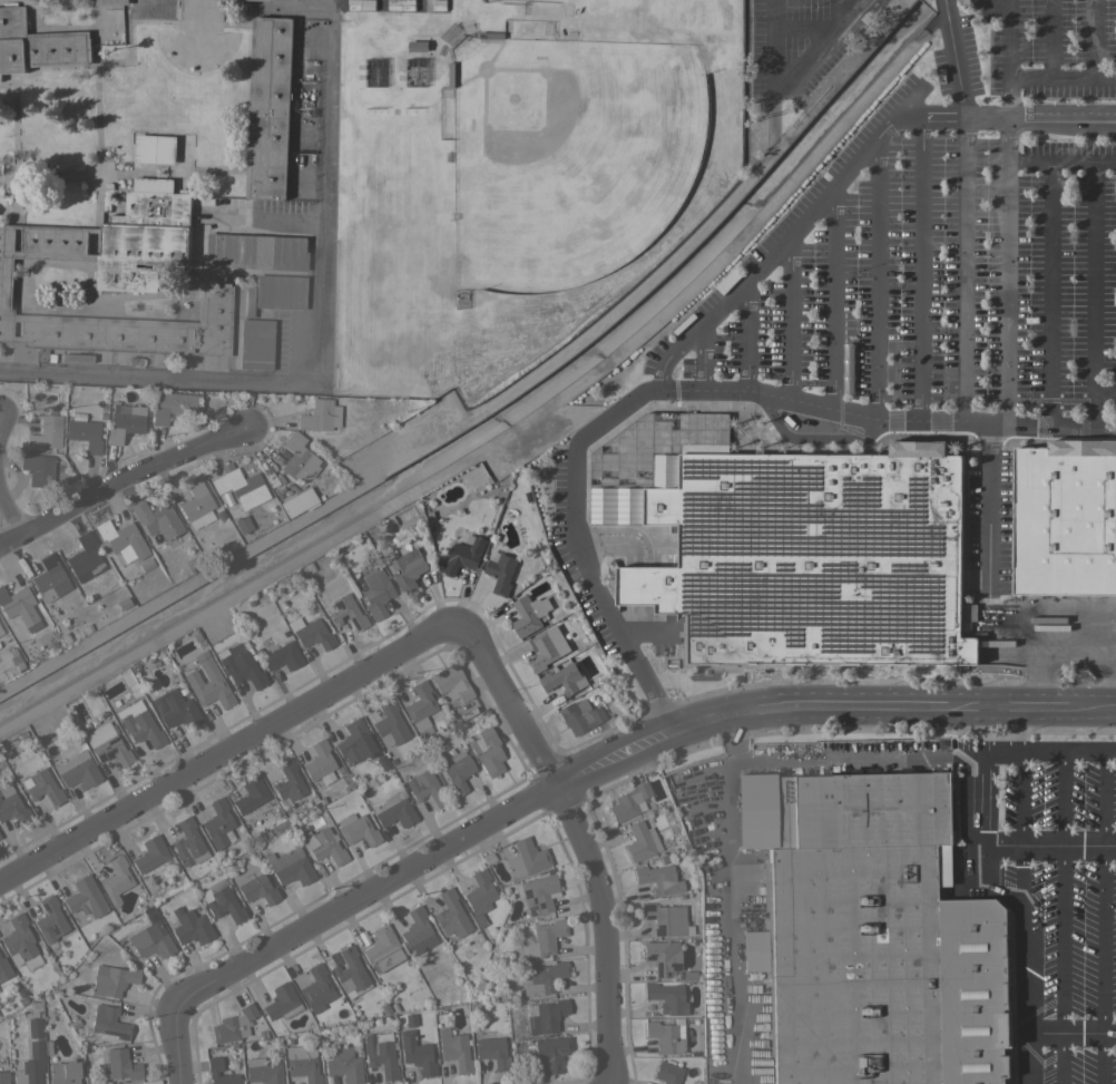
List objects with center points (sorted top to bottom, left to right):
building: (262, 0)
building: (111, 2)
road: (797, 29)
building: (490, 36)
road: (1007, 37)
road: (1049, 38)
road: (1090, 38)
building: (37, 45)
building: (418, 46)
road: (953, 57)
building: (375, 72)
building: (417, 72)
building: (451, 75)
road: (1061, 76)
road: (779, 81)
building: (446, 95)
road: (1009, 95)
building: (270, 108)
building: (155, 149)
road: (1063, 157)
building: (256, 252)
road: (921, 268)
road: (963, 270)
road: (1009, 270)
road: (1093, 274)
building: (118, 280)
road: (873, 281)
building: (280, 291)
road: (1048, 291)
road: (832, 297)
building: (248, 301)
road: (789, 316)
road: (708, 319)
road: (748, 334)
building: (255, 344)
building: (76, 358)
road: (311, 369)
road: (1094, 398)
building: (173, 404)
building: (102, 406)
building: (77, 414)
building: (101, 414)
building: (320, 416)
road: (882, 421)
building: (125, 423)
building: (46, 432)
building: (85, 433)
building: (107, 452)
building: (297, 458)
building: (558, 460)
building: (38, 469)
building: (239, 486)
road: (123, 496)
building: (555, 498)
building: (297, 501)
building: (197, 505)
road: (989, 509)
building: (219, 514)
road: (9, 517)
building: (157, 519)
building: (1065, 519)
building: (242, 524)
building: (121, 538)
building: (174, 541)
building: (972, 547)
building: (805, 555)
building: (463, 556)
building: (85, 558)
building: (145, 564)
building: (408, 570)
building: (500, 572)
building: (569, 572)
building: (50, 578)
building: (376, 593)
building: (123, 603)
building: (18, 605)
building: (346, 613)
building: (529, 615)
building: (311, 633)
building: (1, 636)
building: (549, 646)
building: (257, 651)
building: (13, 655)
building: (282, 656)
building: (241, 666)
building: (565, 680)
building: (208, 682)
building: (451, 682)
building: (182, 690)
building: (482, 705)
building: (420, 707)
building: (177, 710)
building: (366, 713)
building: (484, 714)
building: (579, 715)
building: (443, 719)
building: (139, 723)
building: (389, 723)
road: (727, 733)
building: (11, 740)
building: (354, 742)
building: (107, 744)
building: (4, 749)
building: (487, 751)
road: (231, 752)
road: (1028, 752)
building: (397, 756)
road: (836, 759)
building: (320, 762)
building: (382, 762)
building: (77, 770)
road: (580, 773)
building: (456, 774)
road: (990, 775)
building: (287, 783)
building: (42, 787)
building: (751, 787)
building: (425, 788)
building: (399, 793)
building: (251, 794)
building: (321, 800)
building: (629, 801)
building: (11, 804)
building: (751, 810)
building: (394, 811)
building: (770, 820)
building: (218, 824)
road: (1021, 824)
building: (356, 829)
building: (755, 836)
road: (571, 839)
building: (640, 841)
building: (188, 843)
building: (322, 843)
building: (685, 844)
building: (150, 857)
building: (526, 858)
building: (488, 859)
building: (663, 859)
building: (291, 867)
building: (658, 878)
building: (116, 880)
building: (254, 885)
building: (537, 892)
road: (1015, 892)
building: (479, 896)
building: (85, 897)
building: (221, 900)
building: (709, 909)
building: (451, 915)
road: (1059, 917)
building: (665, 918)
road: (1102, 918)
building: (50, 919)
road: (725, 922)
building: (189, 926)
building: (417, 931)
building: (151, 936)
building: (362, 937)
building: (878, 938)
building: (541, 939)
building: (20, 943)
building: (383, 947)
building: (662, 956)
building: (753, 957)
building: (3, 968)
building: (350, 973)
building: (689, 975)
building: (541, 977)
building: (112, 979)
building: (479, 985)
building: (316, 988)
building: (665, 997)
building: (22, 1000)
building: (282, 1002)
building: (35, 1004)
building: (394, 1005)
building: (384, 1008)
building: (547, 1016)
building: (108, 1022)
building: (233, 1025)
building: (33, 1027)
road: (1071, 1029)
building: (666, 1034)
building: (276, 1039)
building: (286, 1041)
building: (234, 1045)
building: (321, 1047)
building: (414, 1048)
building: (454, 1049)
building: (491, 1051)
building: (550, 1052)
building: (380, 1054)
building: (302, 1063)
building: (121, 1064)
building: (30, 1065)
building: (344, 1065)
building: (213, 1070)
building: (262, 1071)
building: (63, 1072)
building: (667, 1072)
building: (3, 1077)
building: (330, 1080)

